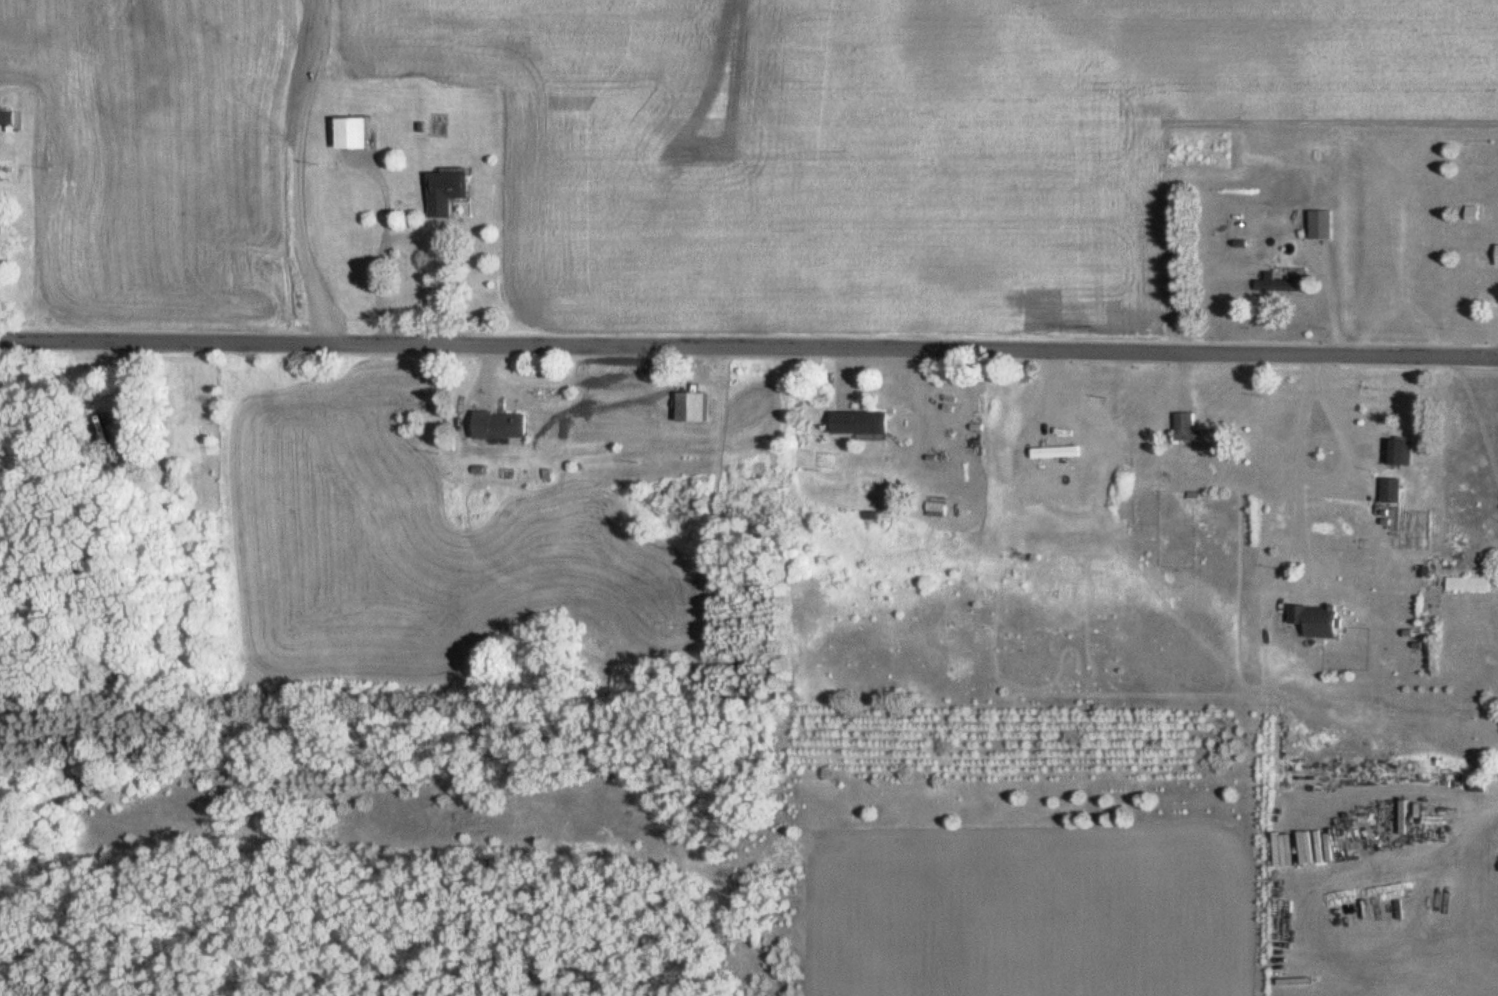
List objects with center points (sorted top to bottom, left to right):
building: (356, 133)
building: (448, 191)
building: (1323, 225)
building: (1497, 257)
building: (1275, 282)
road: (749, 353)
building: (694, 407)
building: (862, 423)
building: (503, 424)
building: (1195, 429)
building: (115, 430)
building: (1400, 452)
building: (1391, 490)
building: (1468, 584)
building: (1318, 618)
building: (1405, 818)
building: (1344, 837)

